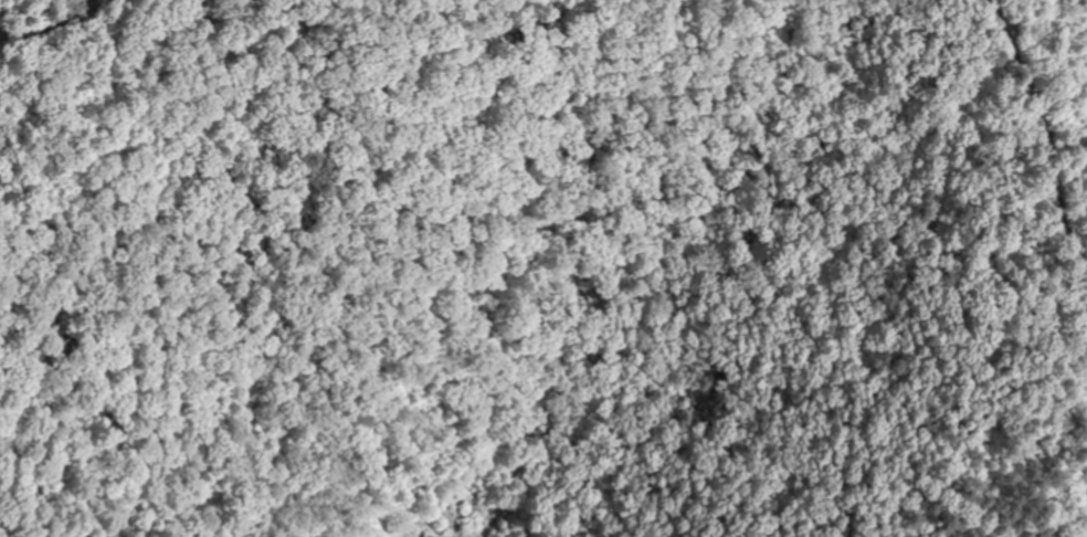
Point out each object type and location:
road: (1031, 107)

